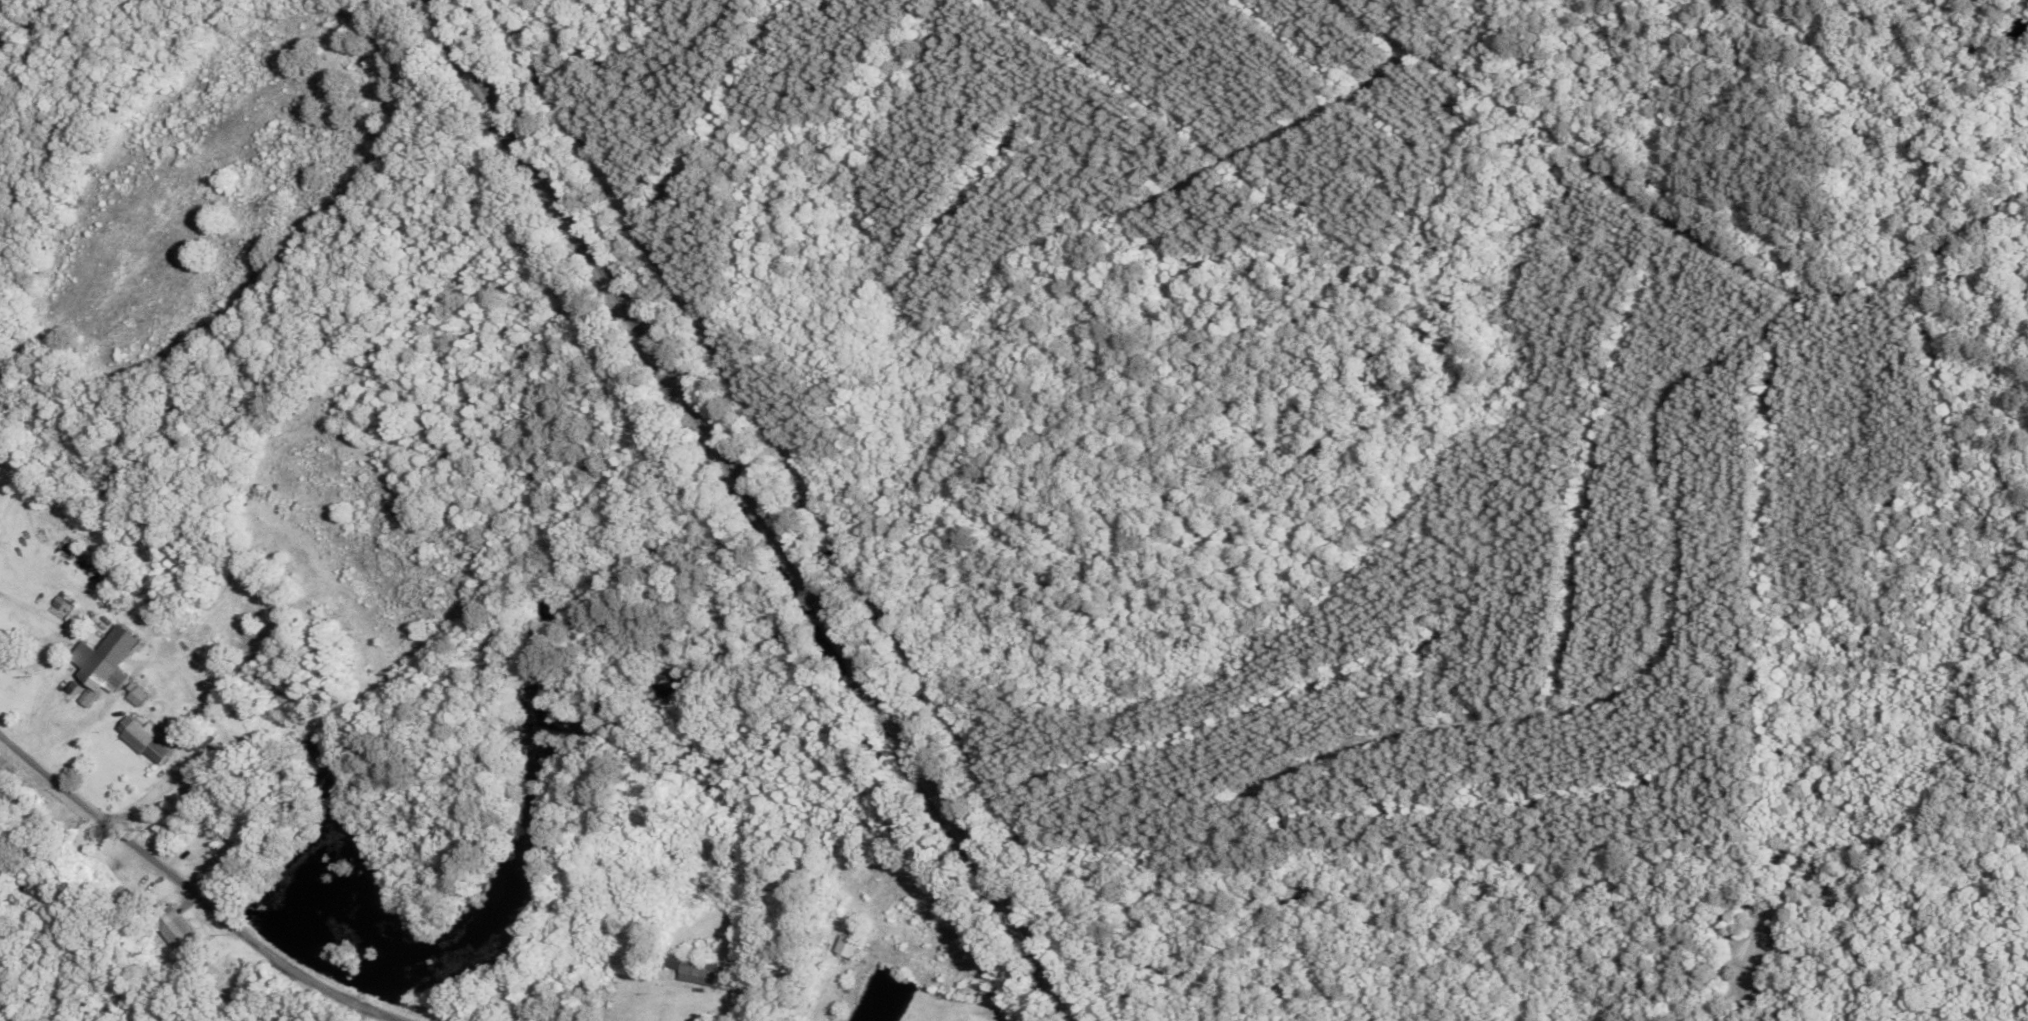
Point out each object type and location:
railway: (759, 503)
building: (98, 689)
building: (147, 740)
building: (176, 928)
building: (851, 947)
building: (696, 970)

